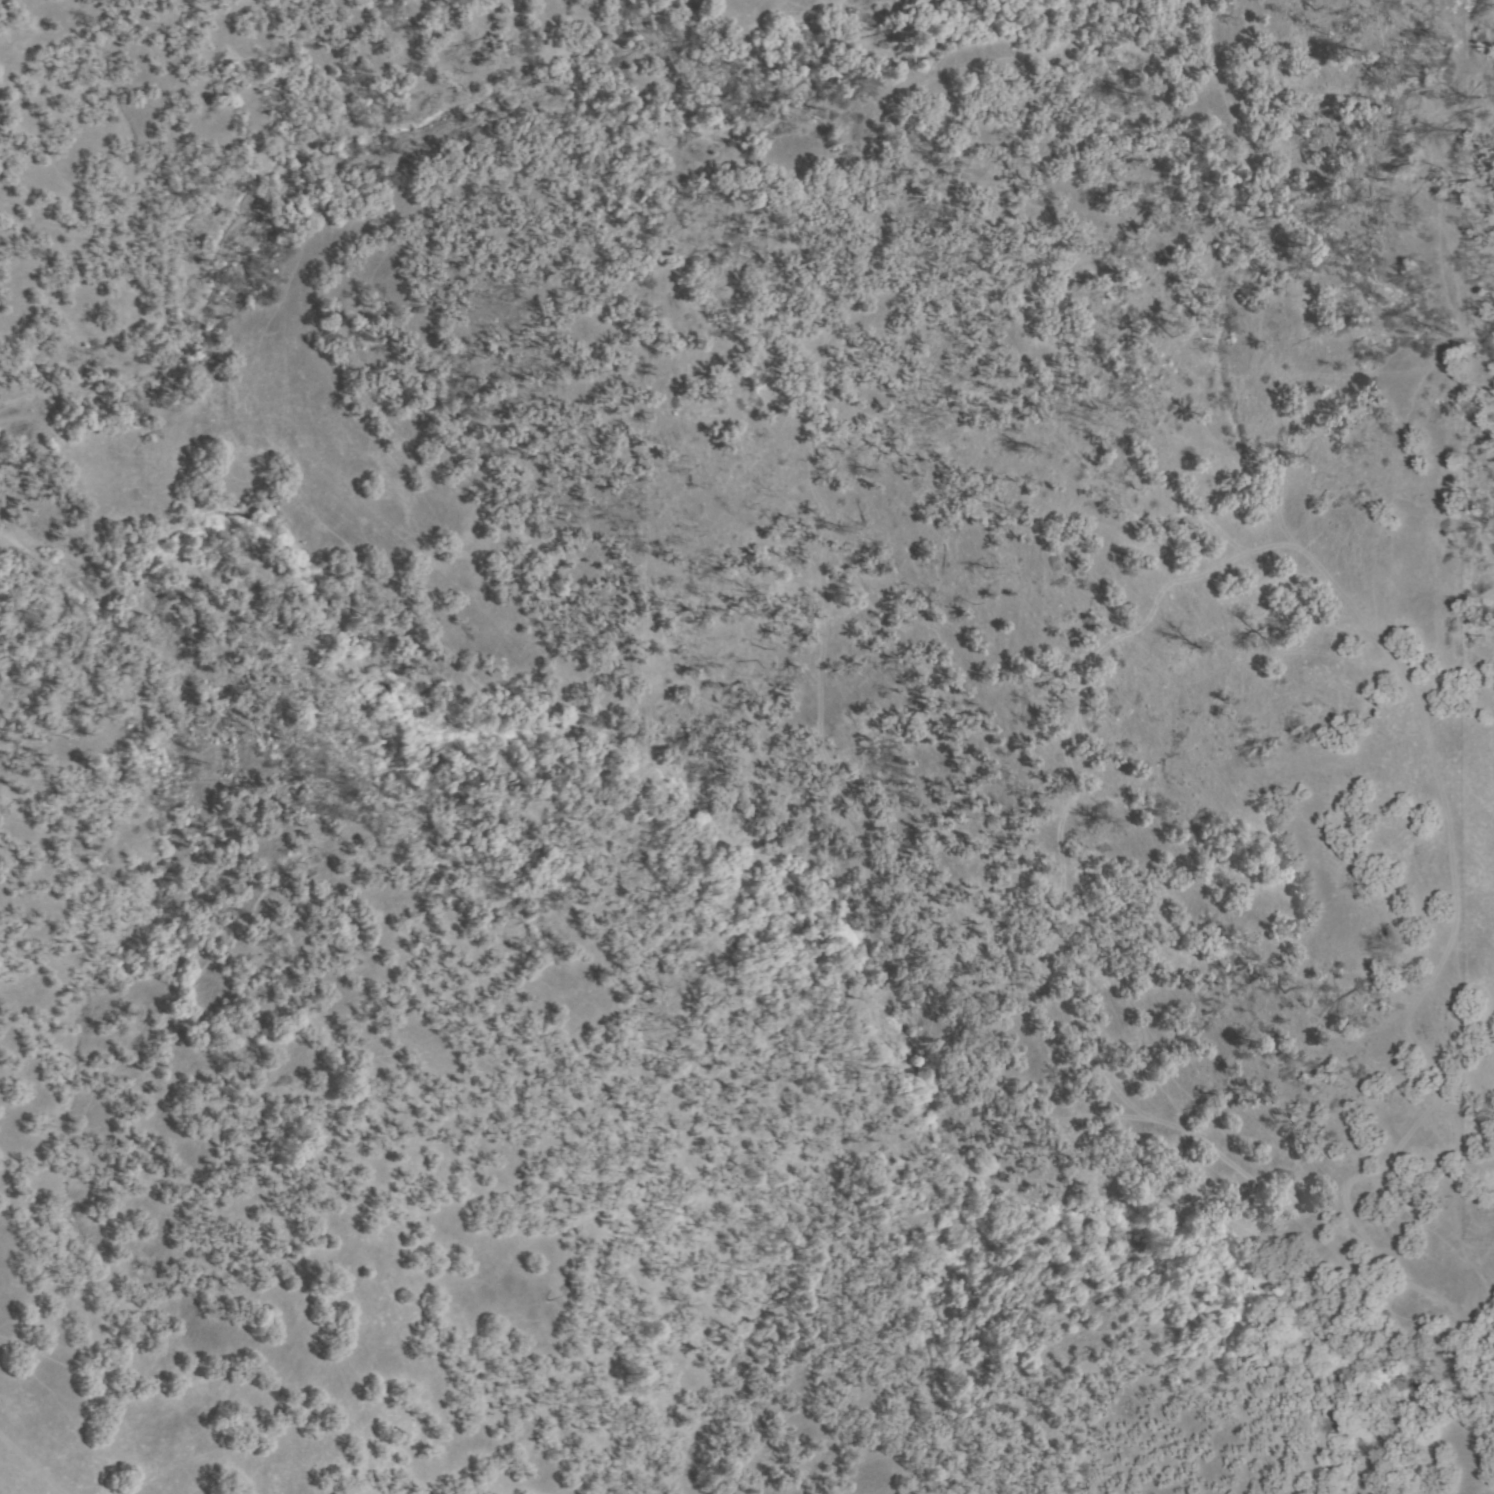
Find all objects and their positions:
building: (1450, 1361)

